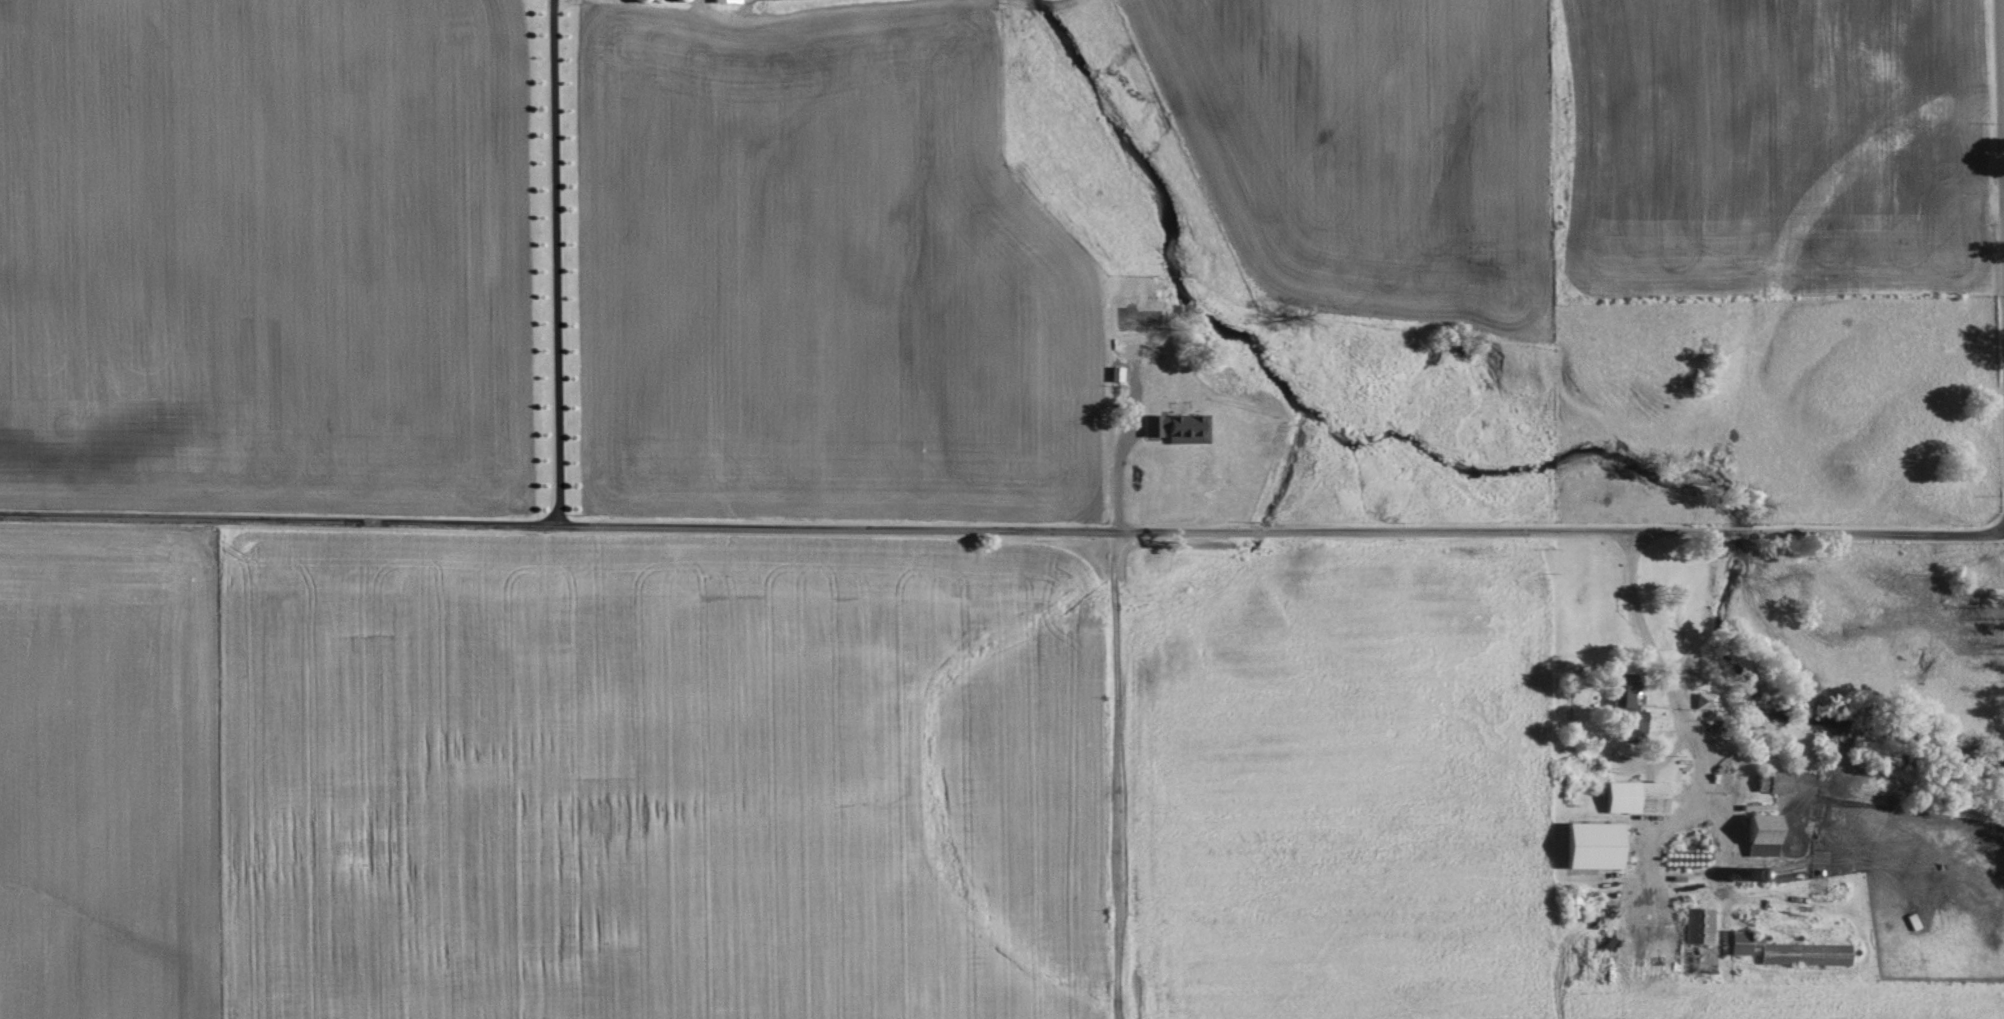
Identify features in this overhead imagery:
building: (752, 0)
building: (728, 1)
road: (2003, 11)
road: (555, 262)
road: (1001, 527)
road: (1669, 683)
building: (1629, 696)
building: (1707, 701)
road: (1117, 773)
building: (1640, 798)
building: (1767, 835)
building: (1598, 846)
building: (1701, 926)
building: (1793, 952)

